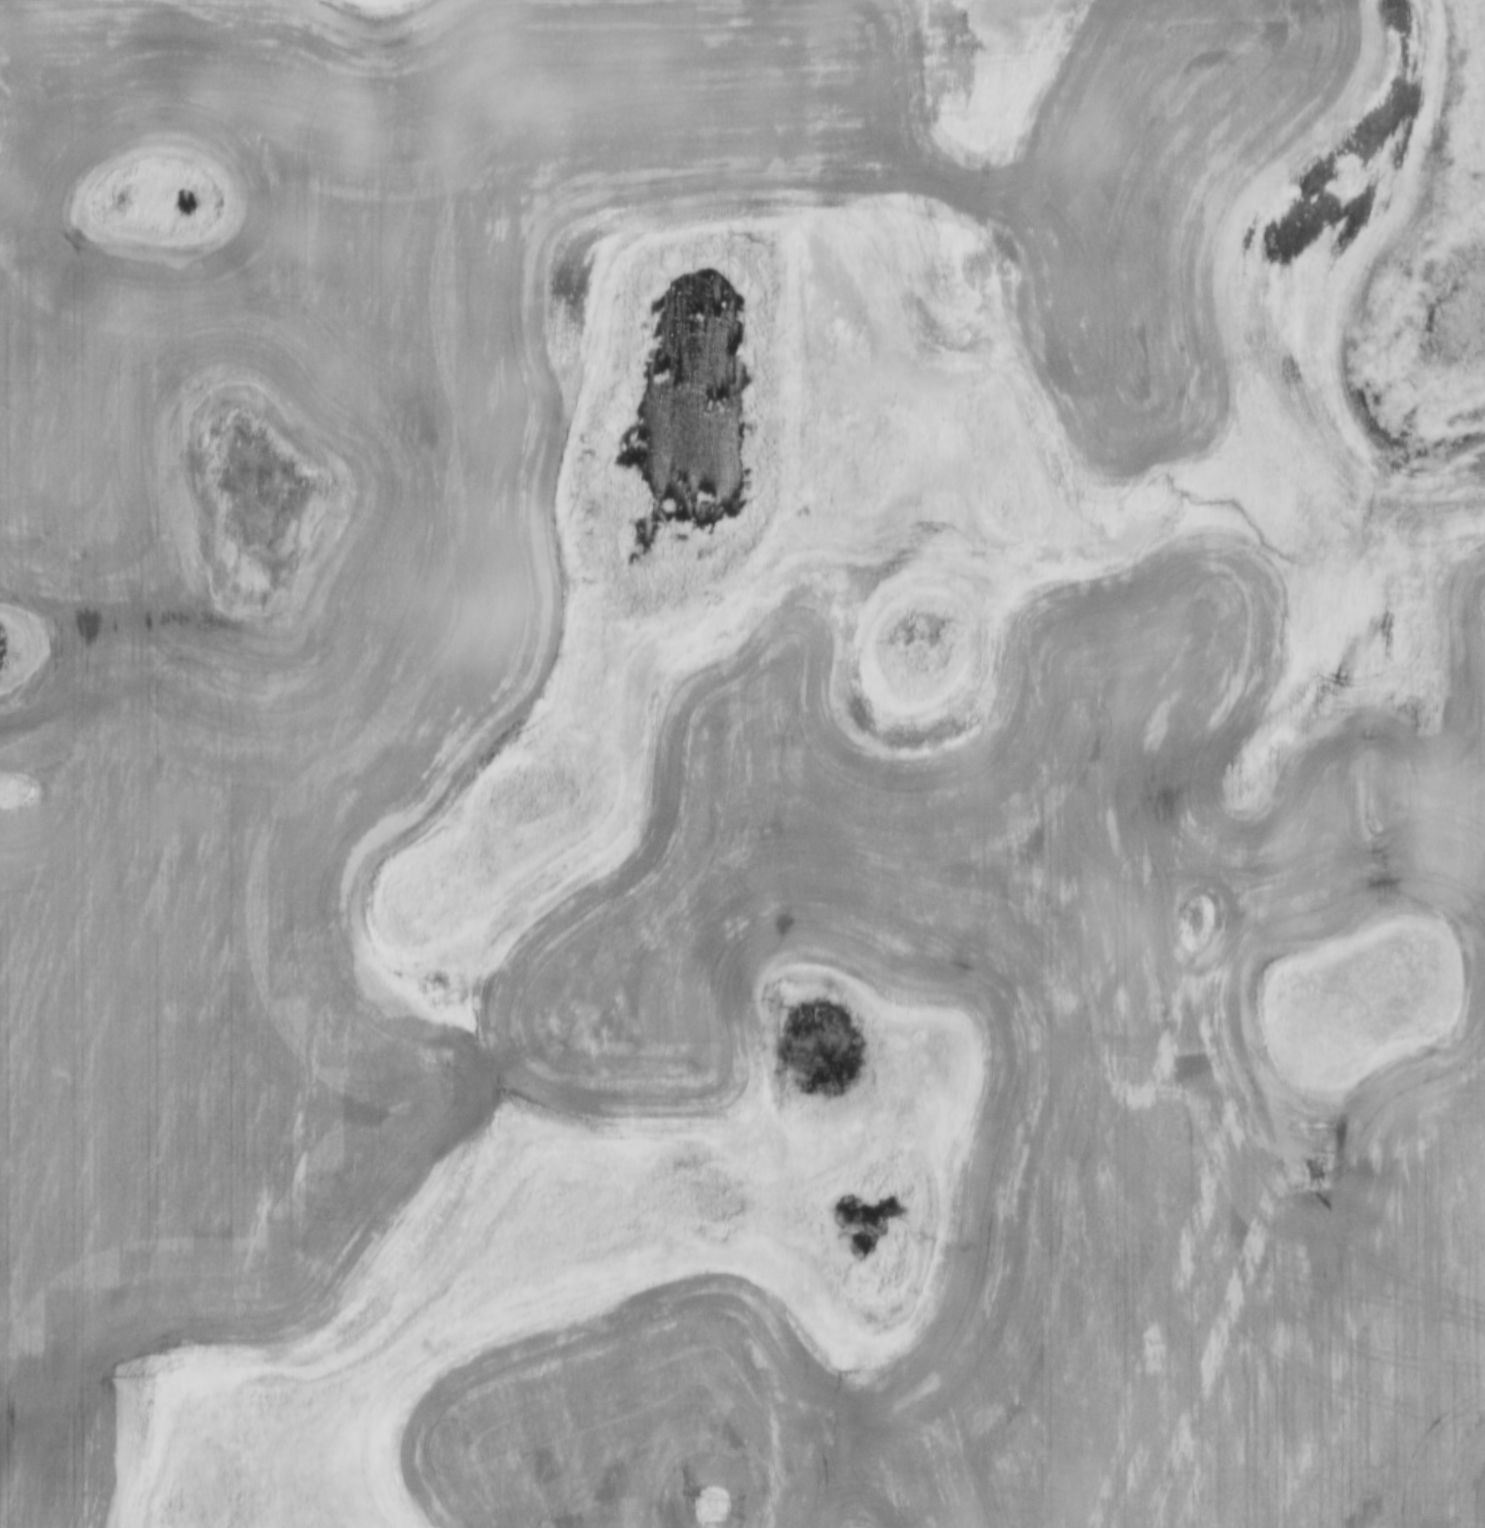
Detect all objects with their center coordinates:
power tower: (708, 1504)

